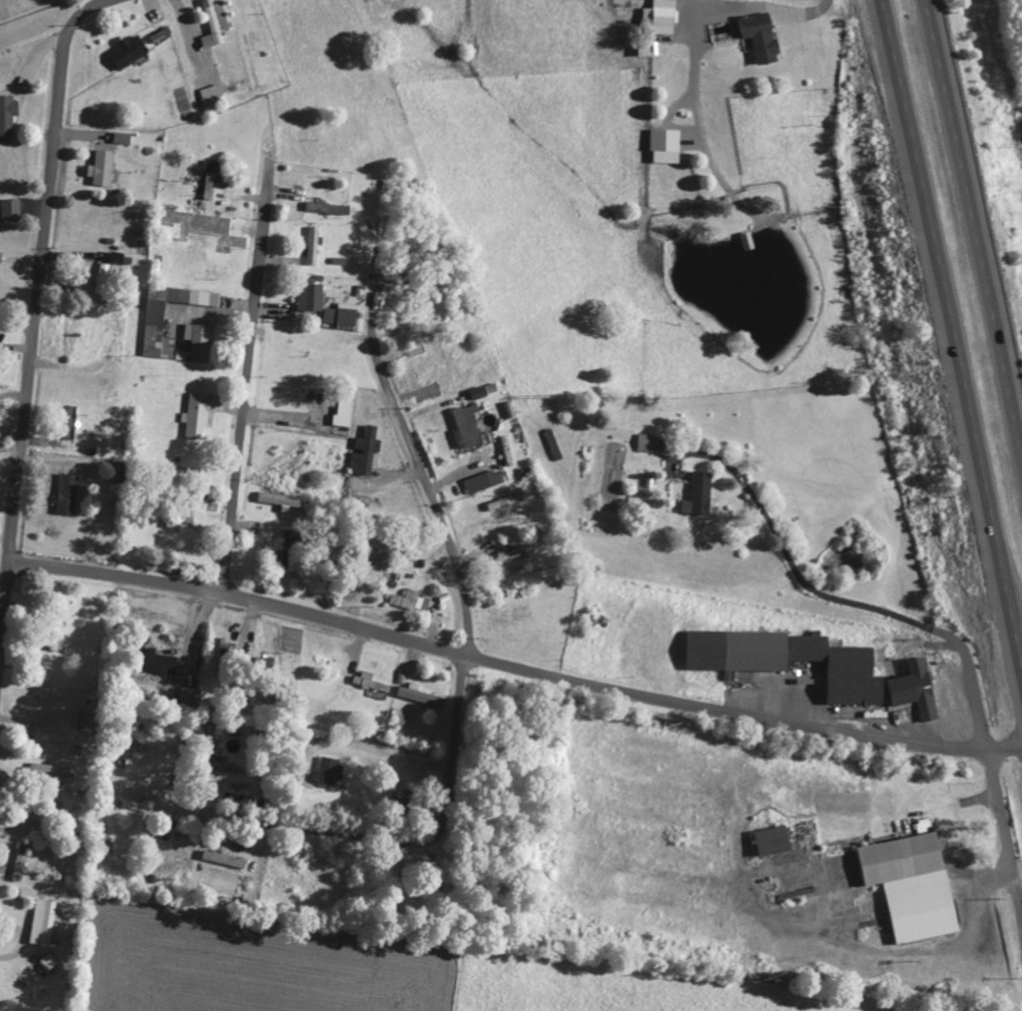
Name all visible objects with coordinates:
building: (662, 16)
building: (217, 22)
building: (763, 36)
building: (131, 50)
building: (216, 94)
building: (8, 114)
building: (125, 138)
building: (668, 146)
building: (104, 168)
building: (214, 177)
building: (328, 208)
building: (13, 209)
road: (971, 236)
building: (313, 245)
building: (2, 257)
building: (123, 259)
road: (41, 267)
building: (0, 277)
building: (104, 278)
building: (313, 297)
building: (345, 315)
building: (156, 321)
road: (950, 335)
building: (201, 341)
road: (246, 381)
building: (199, 416)
building: (468, 428)
building: (647, 442)
building: (368, 452)
road: (424, 478)
building: (483, 482)
building: (72, 494)
building: (700, 494)
building: (281, 500)
building: (506, 501)
building: (515, 550)
building: (412, 600)
road: (5, 608)
building: (225, 657)
building: (791, 660)
building: (163, 663)
road: (514, 669)
building: (371, 682)
building: (918, 689)
building: (420, 695)
building: (193, 697)
building: (400, 718)
building: (83, 719)
building: (51, 772)
building: (331, 772)
building: (239, 778)
road: (373, 838)
building: (775, 841)
building: (225, 859)
building: (22, 861)
building: (913, 886)
building: (48, 923)
building: (50, 963)

